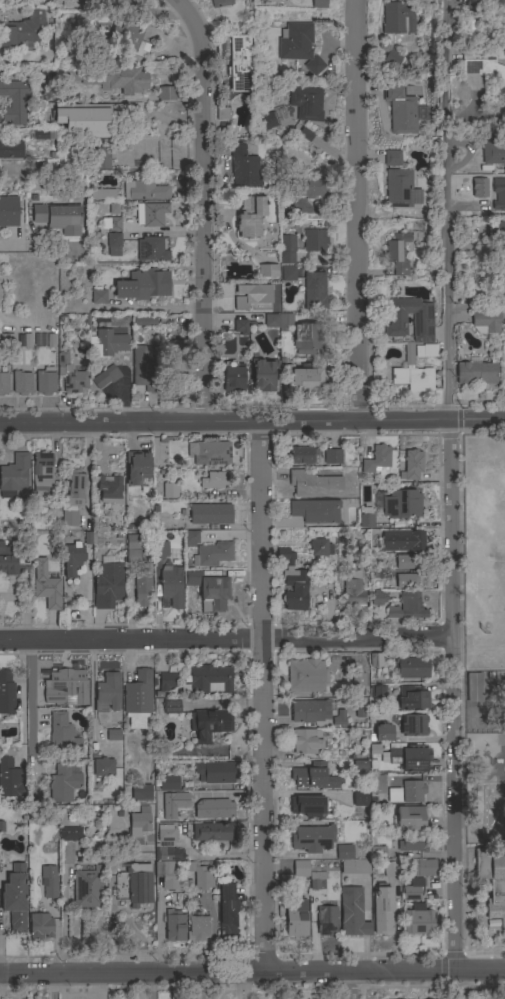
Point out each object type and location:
building: (110, 0)
building: (68, 3)
building: (221, 3)
building: (318, 3)
building: (397, 16)
building: (469, 16)
building: (79, 22)
building: (22, 31)
building: (127, 36)
building: (298, 46)
building: (500, 53)
building: (392, 58)
building: (481, 63)
building: (239, 64)
building: (106, 78)
building: (165, 93)
building: (14, 101)
building: (306, 103)
building: (400, 110)
building: (222, 112)
building: (420, 113)
building: (276, 116)
building: (85, 119)
building: (267, 120)
building: (303, 135)
building: (11, 150)
building: (493, 153)
road: (472, 155)
building: (99, 158)
building: (392, 158)
building: (244, 166)
building: (310, 188)
building: (399, 188)
building: (143, 191)
building: (106, 194)
building: (499, 195)
road: (206, 206)
road: (449, 210)
building: (8, 211)
road: (356, 211)
building: (151, 214)
building: (250, 216)
building: (59, 217)
building: (111, 223)
building: (496, 231)
building: (114, 240)
building: (314, 240)
road: (27, 242)
building: (151, 249)
building: (287, 249)
building: (397, 253)
building: (268, 270)
building: (501, 273)
building: (288, 274)
building: (144, 286)
building: (315, 290)
building: (98, 297)
building: (243, 297)
road: (477, 307)
building: (422, 319)
building: (144, 320)
building: (271, 320)
building: (486, 323)
building: (240, 326)
building: (301, 334)
building: (6, 341)
building: (24, 341)
building: (107, 343)
building: (426, 350)
building: (173, 365)
building: (144, 367)
building: (504, 369)
building: (478, 372)
building: (70, 374)
building: (412, 374)
building: (264, 375)
building: (302, 376)
building: (105, 377)
building: (233, 377)
building: (45, 382)
building: (3, 383)
building: (22, 383)
road: (252, 422)
building: (209, 453)
building: (304, 455)
building: (332, 456)
building: (376, 459)
building: (411, 465)
building: (136, 467)
building: (42, 472)
building: (14, 475)
building: (214, 480)
building: (313, 484)
building: (110, 490)
building: (170, 491)
building: (72, 499)
building: (401, 504)
building: (55, 510)
building: (315, 510)
building: (210, 514)
building: (366, 520)
building: (177, 538)
building: (191, 538)
building: (403, 540)
building: (137, 541)
building: (159, 544)
building: (319, 547)
building: (212, 554)
building: (71, 559)
building: (9, 561)
building: (404, 562)
building: (376, 572)
building: (170, 579)
building: (405, 580)
building: (108, 583)
building: (292, 583)
building: (352, 588)
building: (141, 589)
building: (208, 590)
building: (48, 592)
building: (374, 599)
building: (406, 607)
road: (225, 640)
building: (374, 660)
building: (412, 668)
building: (306, 676)
building: (209, 679)
building: (357, 680)
building: (165, 683)
building: (66, 687)
building: (473, 688)
building: (378, 691)
road: (93, 692)
building: (6, 693)
building: (107, 693)
road: (452, 696)
road: (263, 697)
building: (412, 698)
road: (31, 699)
building: (137, 699)
building: (171, 706)
building: (308, 711)
building: (339, 719)
building: (209, 724)
building: (413, 725)
building: (383, 733)
building: (62, 735)
building: (113, 735)
building: (305, 741)
building: (408, 758)
building: (103, 767)
building: (214, 772)
building: (314, 776)
building: (10, 779)
building: (168, 783)
building: (63, 784)
building: (377, 784)
building: (412, 791)
building: (140, 793)
building: (394, 795)
building: (176, 800)
building: (357, 800)
building: (307, 805)
building: (213, 809)
building: (355, 813)
building: (410, 818)
building: (138, 824)
building: (213, 832)
building: (70, 834)
building: (312, 838)
building: (166, 842)
building: (412, 843)
building: (344, 852)
building: (378, 853)
road: (219, 855)
building: (410, 855)
building: (355, 867)
building: (300, 868)
building: (422, 868)
building: (390, 869)
building: (167, 875)
building: (200, 876)
building: (316, 879)
building: (49, 881)
building: (492, 882)
building: (139, 883)
building: (87, 888)
building: (413, 889)
building: (15, 898)
building: (226, 909)
building: (382, 909)
building: (353, 912)
building: (296, 919)
building: (418, 920)
building: (327, 921)
road: (110, 924)
building: (40, 926)
building: (174, 926)
building: (197, 929)
road: (252, 972)
road: (350, 985)
road: (500, 985)

